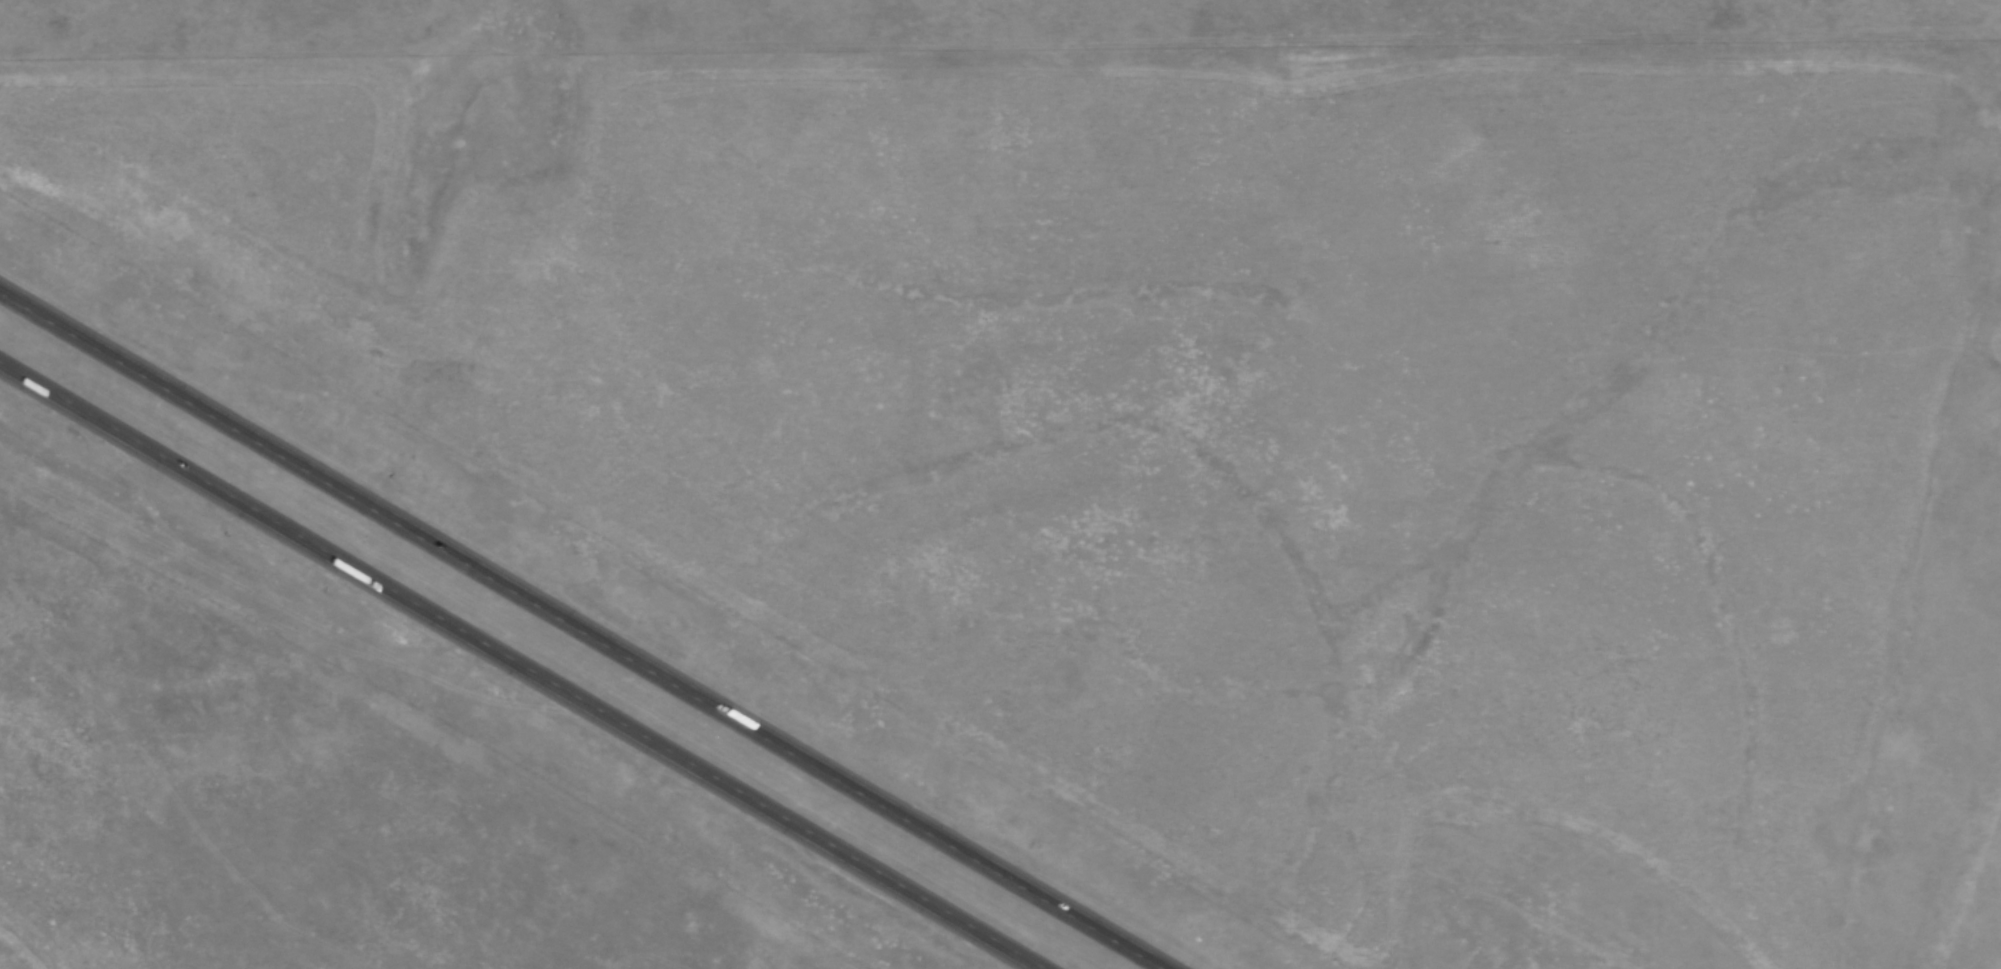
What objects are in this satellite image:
road: (581, 628)
road: (521, 664)

